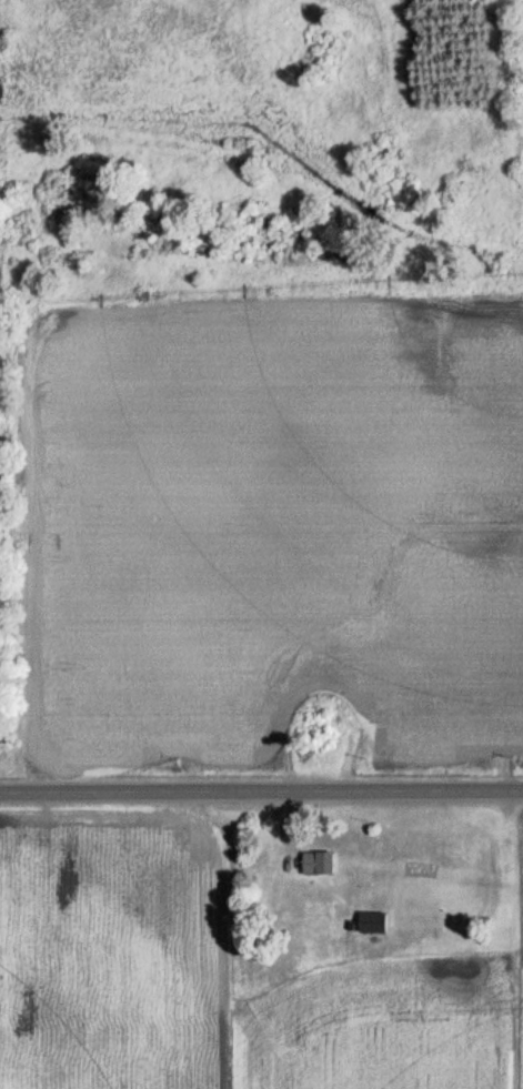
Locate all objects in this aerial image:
road: (261, 793)
building: (315, 863)
building: (369, 922)

